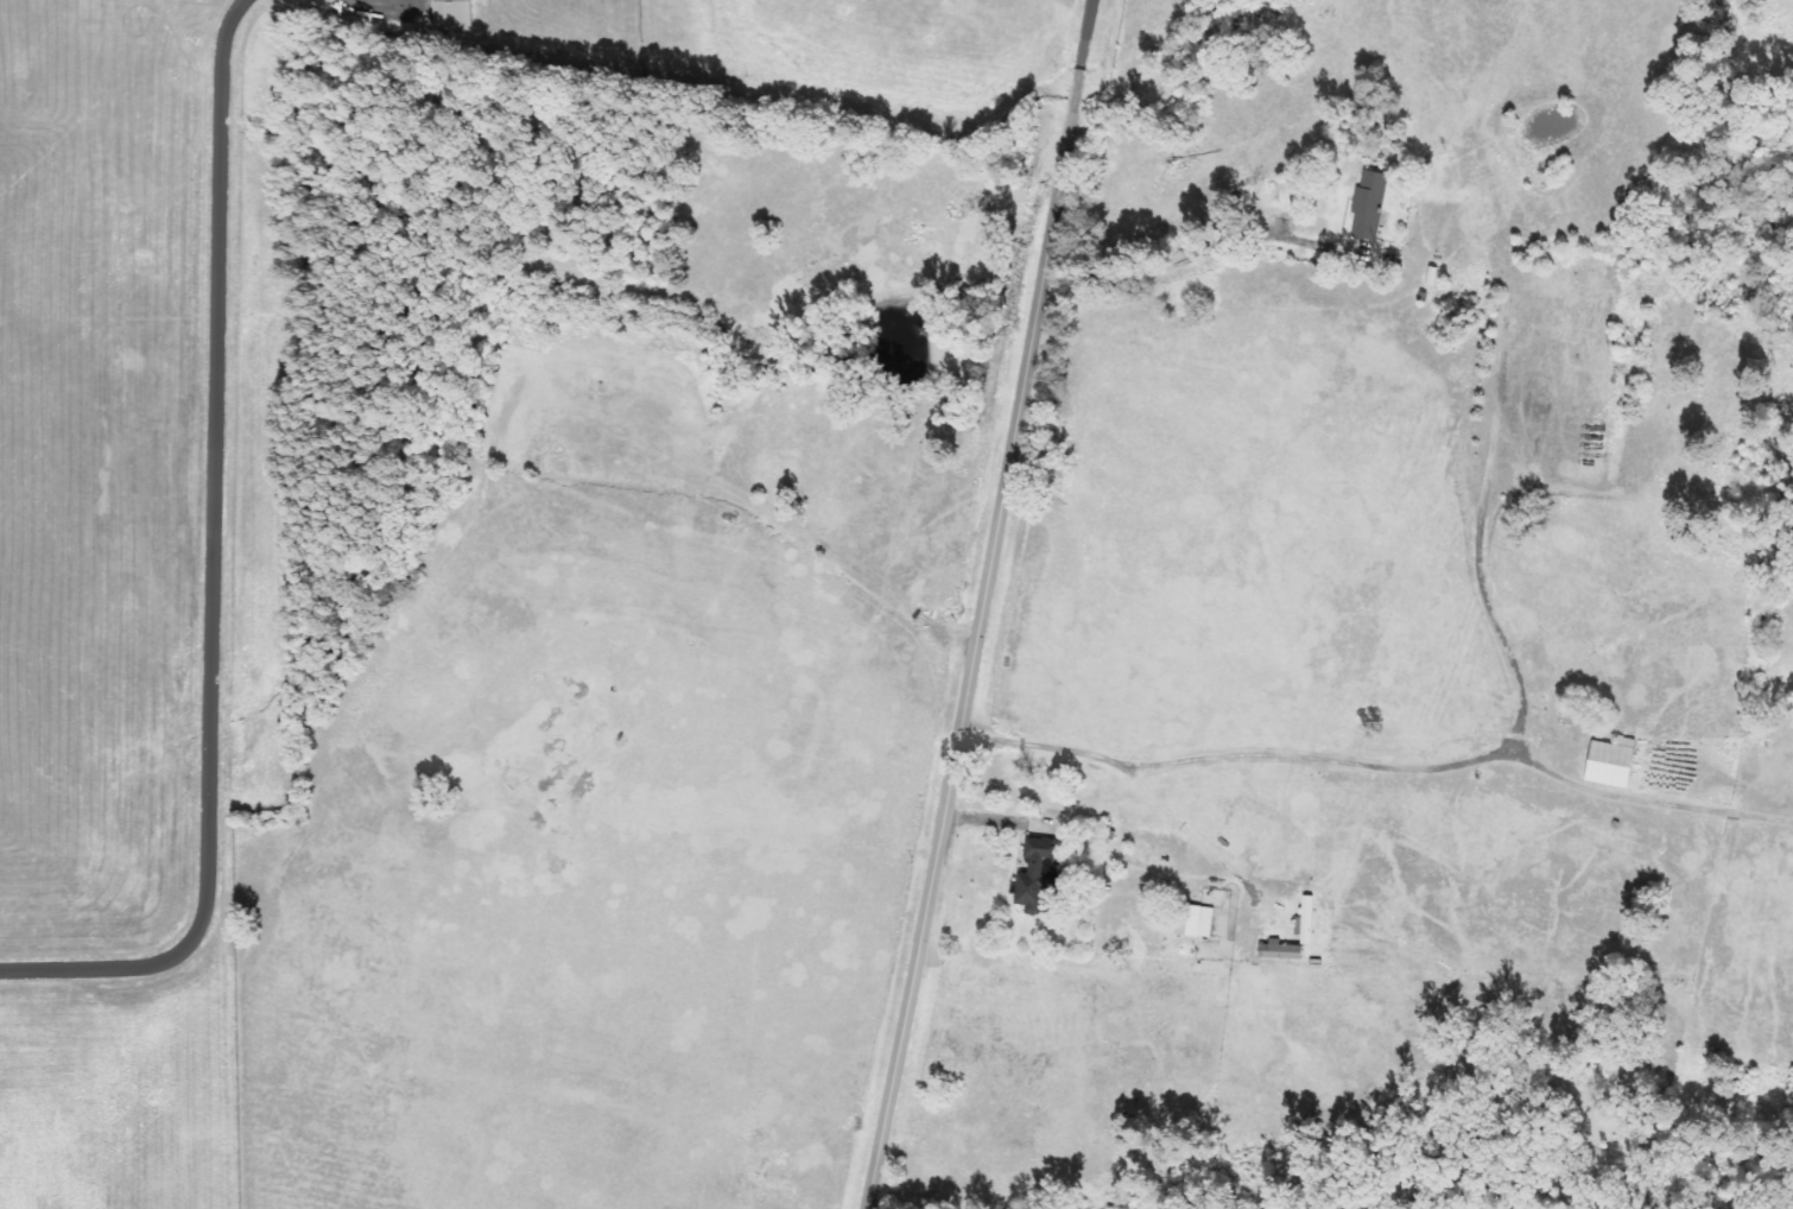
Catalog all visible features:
airport hangar: (452, 15)
building: (452, 15)
building: (1369, 207)
airport: (259, 482)
road: (982, 604)
building: (1610, 762)
building: (1038, 878)
building: (1195, 922)
building: (1305, 922)
building: (1280, 951)

